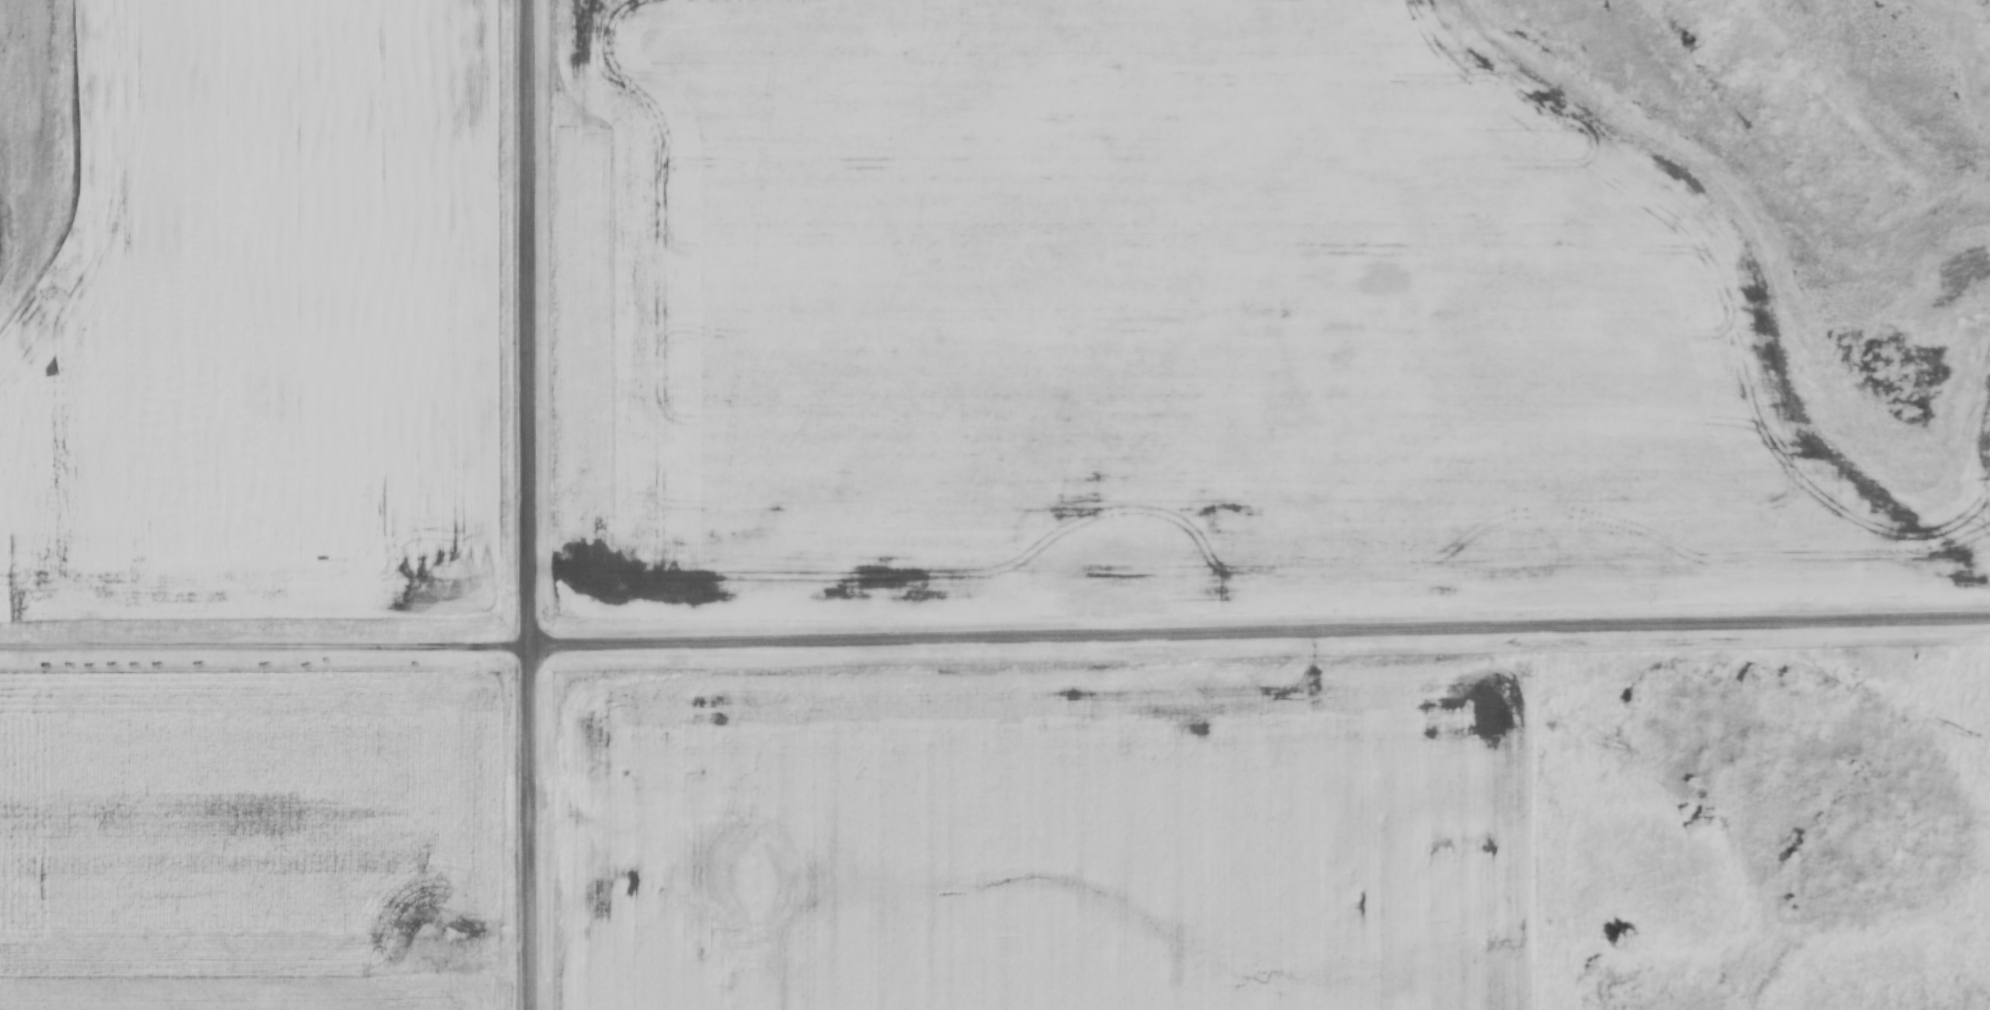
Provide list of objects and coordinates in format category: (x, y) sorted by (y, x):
road: (527, 505)
road: (995, 638)
power tower: (1972, 733)

